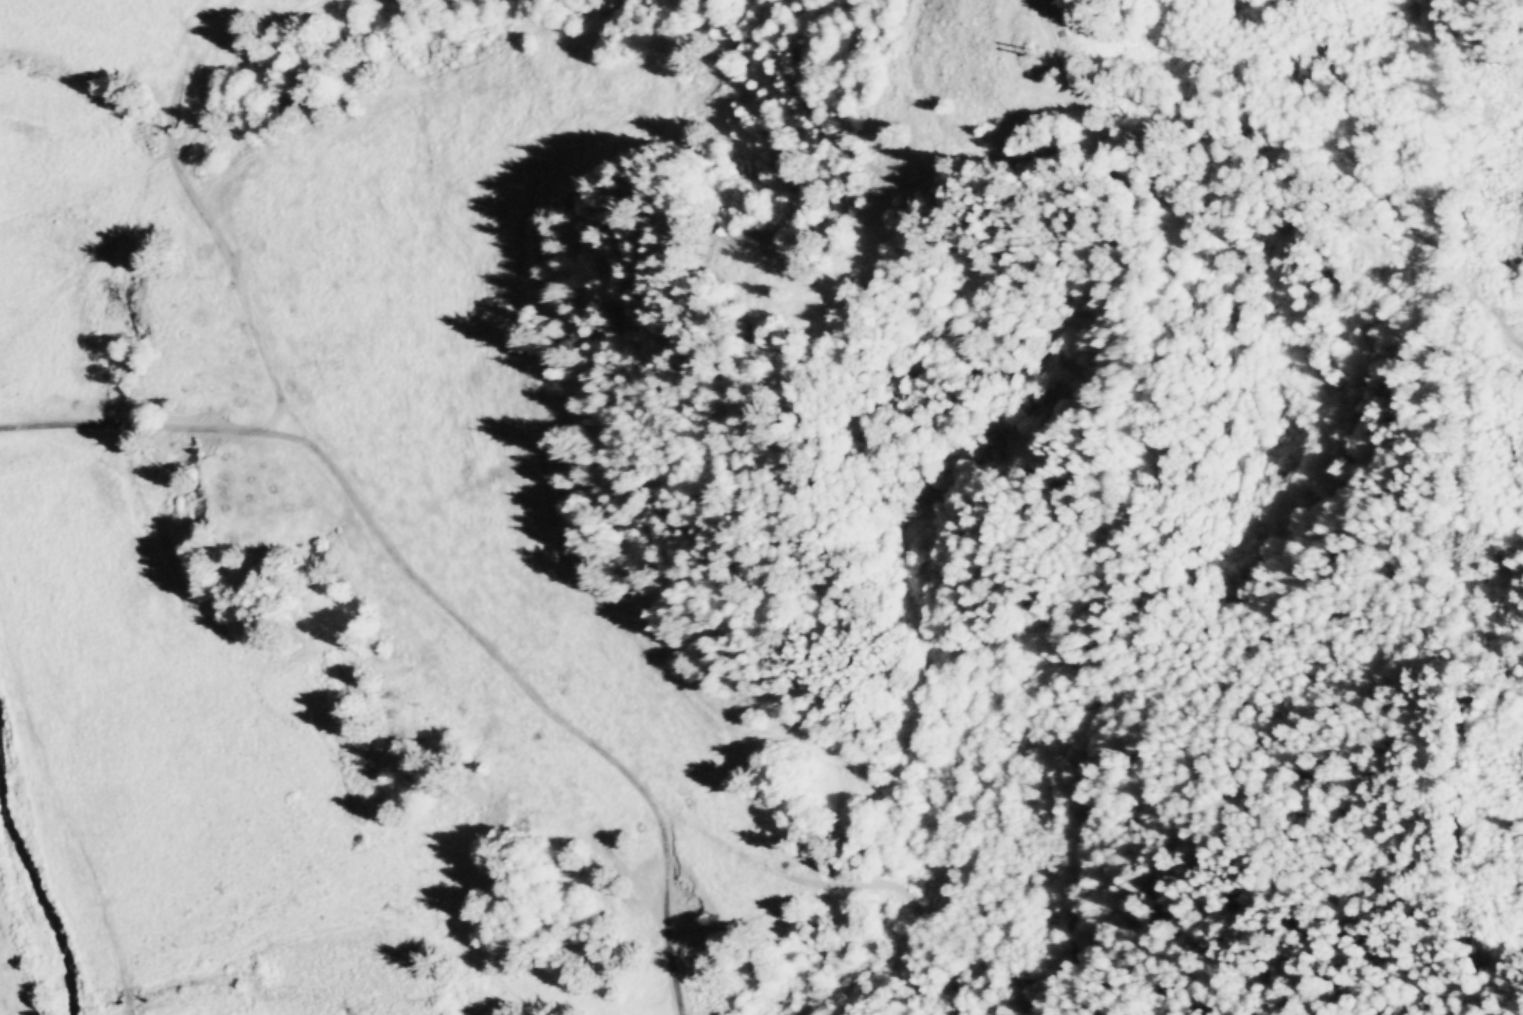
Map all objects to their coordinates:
road: (1350, 179)
road: (157, 427)
road: (550, 708)
river: (26, 870)

